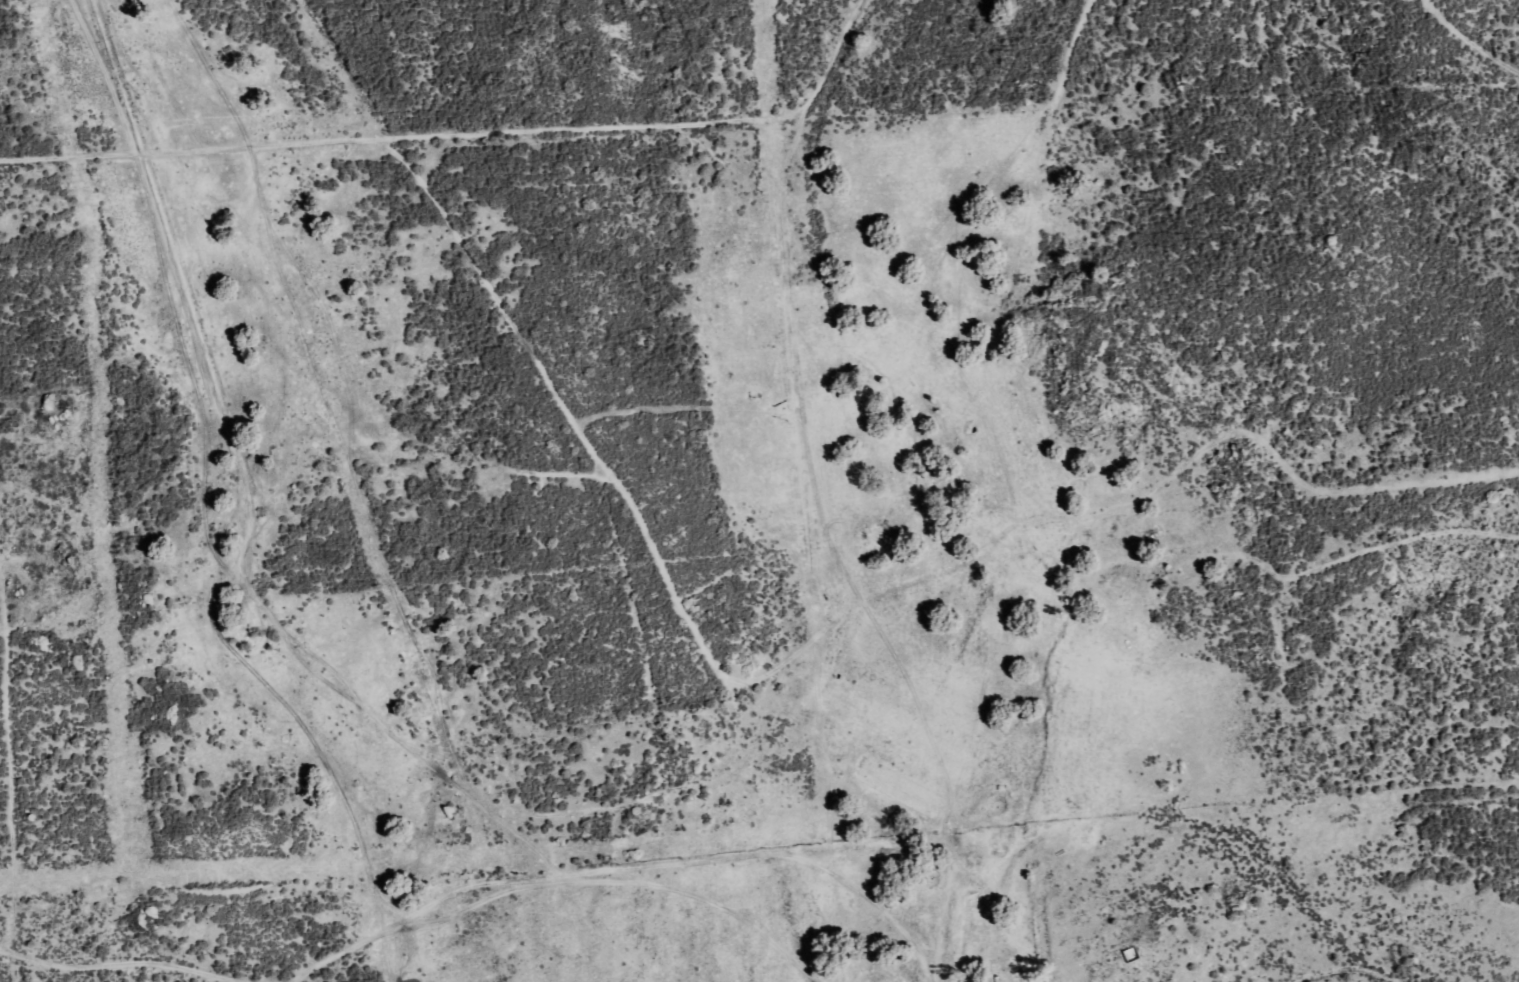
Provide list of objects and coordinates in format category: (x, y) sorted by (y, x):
road: (103, 77)
road: (67, 157)
road: (837, 558)

